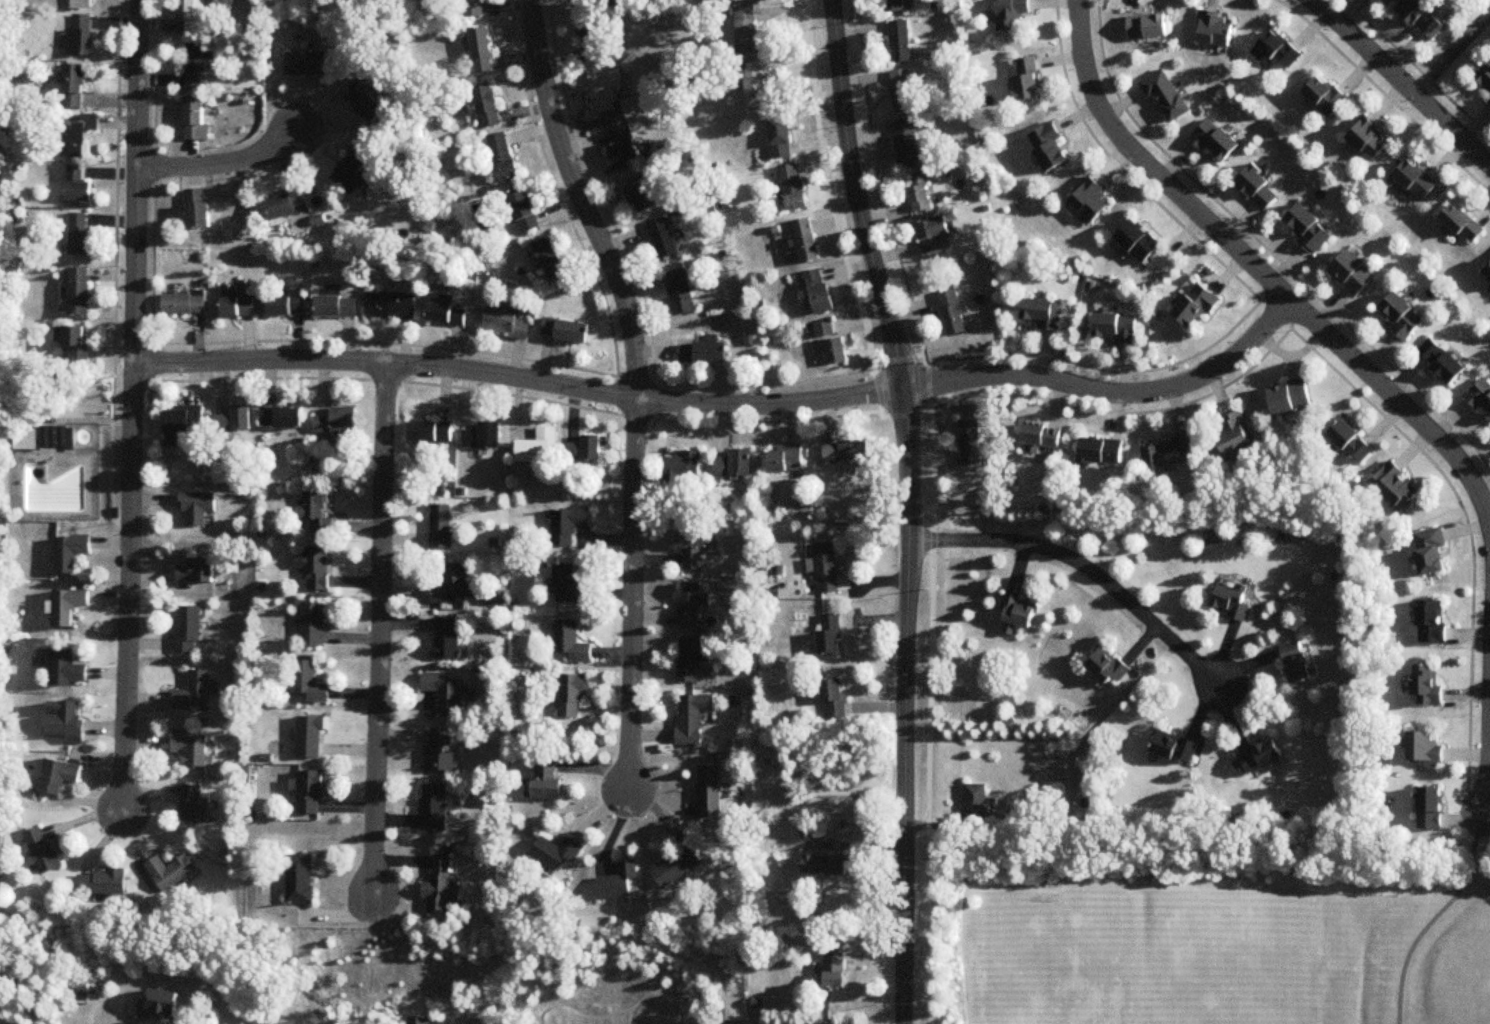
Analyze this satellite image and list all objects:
building: (617, 2)
building: (83, 5)
building: (896, 6)
building: (1012, 14)
building: (199, 16)
building: (1425, 18)
building: (1150, 28)
building: (1217, 30)
building: (749, 32)
building: (82, 35)
building: (596, 41)
building: (903, 42)
building: (483, 51)
building: (1278, 51)
road: (1451, 53)
building: (309, 64)
building: (200, 65)
building: (1483, 79)
building: (1029, 80)
road: (1401, 82)
building: (76, 86)
building: (756, 86)
building: (904, 92)
building: (614, 93)
building: (1168, 95)
building: (1328, 96)
building: (369, 103)
building: (490, 106)
building: (197, 119)
building: (79, 136)
building: (782, 138)
building: (1217, 140)
building: (1373, 140)
building: (909, 142)
building: (625, 145)
building: (1053, 148)
building: (504, 158)
road: (222, 163)
building: (353, 167)
building: (1418, 181)
building: (79, 185)
building: (1259, 187)
building: (795, 188)
building: (644, 194)
building: (923, 197)
road: (583, 200)
building: (1093, 201)
building: (291, 205)
road: (117, 209)
building: (201, 210)
building: (525, 211)
building: (1464, 225)
building: (1310, 229)
building: (83, 234)
building: (935, 235)
building: (666, 240)
building: (808, 241)
building: (1141, 242)
building: (552, 259)
road: (1260, 267)
building: (1487, 271)
building: (1355, 274)
building: (82, 292)
building: (821, 292)
building: (682, 293)
building: (185, 304)
building: (237, 305)
building: (389, 305)
building: (287, 306)
building: (338, 307)
building: (1199, 308)
building: (446, 311)
building: (955, 313)
building: (1044, 315)
building: (1404, 317)
building: (507, 321)
building: (1119, 328)
building: (826, 330)
building: (567, 331)
building: (80, 344)
road: (409, 346)
building: (838, 352)
building: (703, 353)
building: (1444, 362)
road: (756, 386)
building: (1482, 396)
building: (1292, 399)
road: (730, 405)
road: (133, 408)
building: (283, 418)
building: (236, 420)
building: (179, 421)
building: (339, 422)
building: (431, 432)
building: (1236, 436)
building: (484, 437)
building: (1043, 437)
building: (44, 439)
building: (1353, 442)
building: (972, 443)
building: (539, 448)
building: (586, 450)
building: (1105, 452)
building: (848, 453)
building: (1173, 453)
building: (787, 460)
building: (736, 464)
building: (683, 471)
building: (1400, 487)
road: (908, 508)
building: (199, 509)
building: (317, 513)
building: (570, 526)
building: (442, 527)
building: (694, 548)
building: (72, 553)
building: (1434, 553)
road: (1085, 566)
building: (317, 568)
building: (829, 569)
building: (197, 572)
building: (570, 584)
building: (454, 586)
road: (633, 597)
building: (1236, 602)
building: (690, 606)
building: (70, 607)
building: (1015, 608)
building: (1435, 623)
building: (314, 626)
building: (188, 630)
road: (380, 634)
building: (832, 635)
building: (445, 639)
building: (571, 643)
building: (691, 660)
building: (1301, 660)
building: (1109, 666)
building: (69, 670)
building: (308, 683)
building: (1431, 687)
building: (194, 694)
building: (444, 694)
building: (572, 695)
building: (836, 701)
building: (692, 718)
building: (70, 724)
building: (312, 738)
building: (1176, 746)
building: (193, 750)
building: (1429, 750)
building: (441, 753)
building: (1258, 756)
building: (61, 777)
building: (549, 781)
building: (710, 793)
building: (313, 794)
road: (1489, 796)
building: (197, 806)
building: (435, 809)
building: (1433, 809)
building: (979, 810)
road: (798, 818)
building: (43, 853)
building: (558, 853)
building: (826, 865)
building: (678, 867)
building: (173, 873)
building: (304, 881)
building: (619, 883)
building: (104, 885)
building: (442, 887)
road: (1436, 917)
park: (1142, 953)
building: (837, 967)

